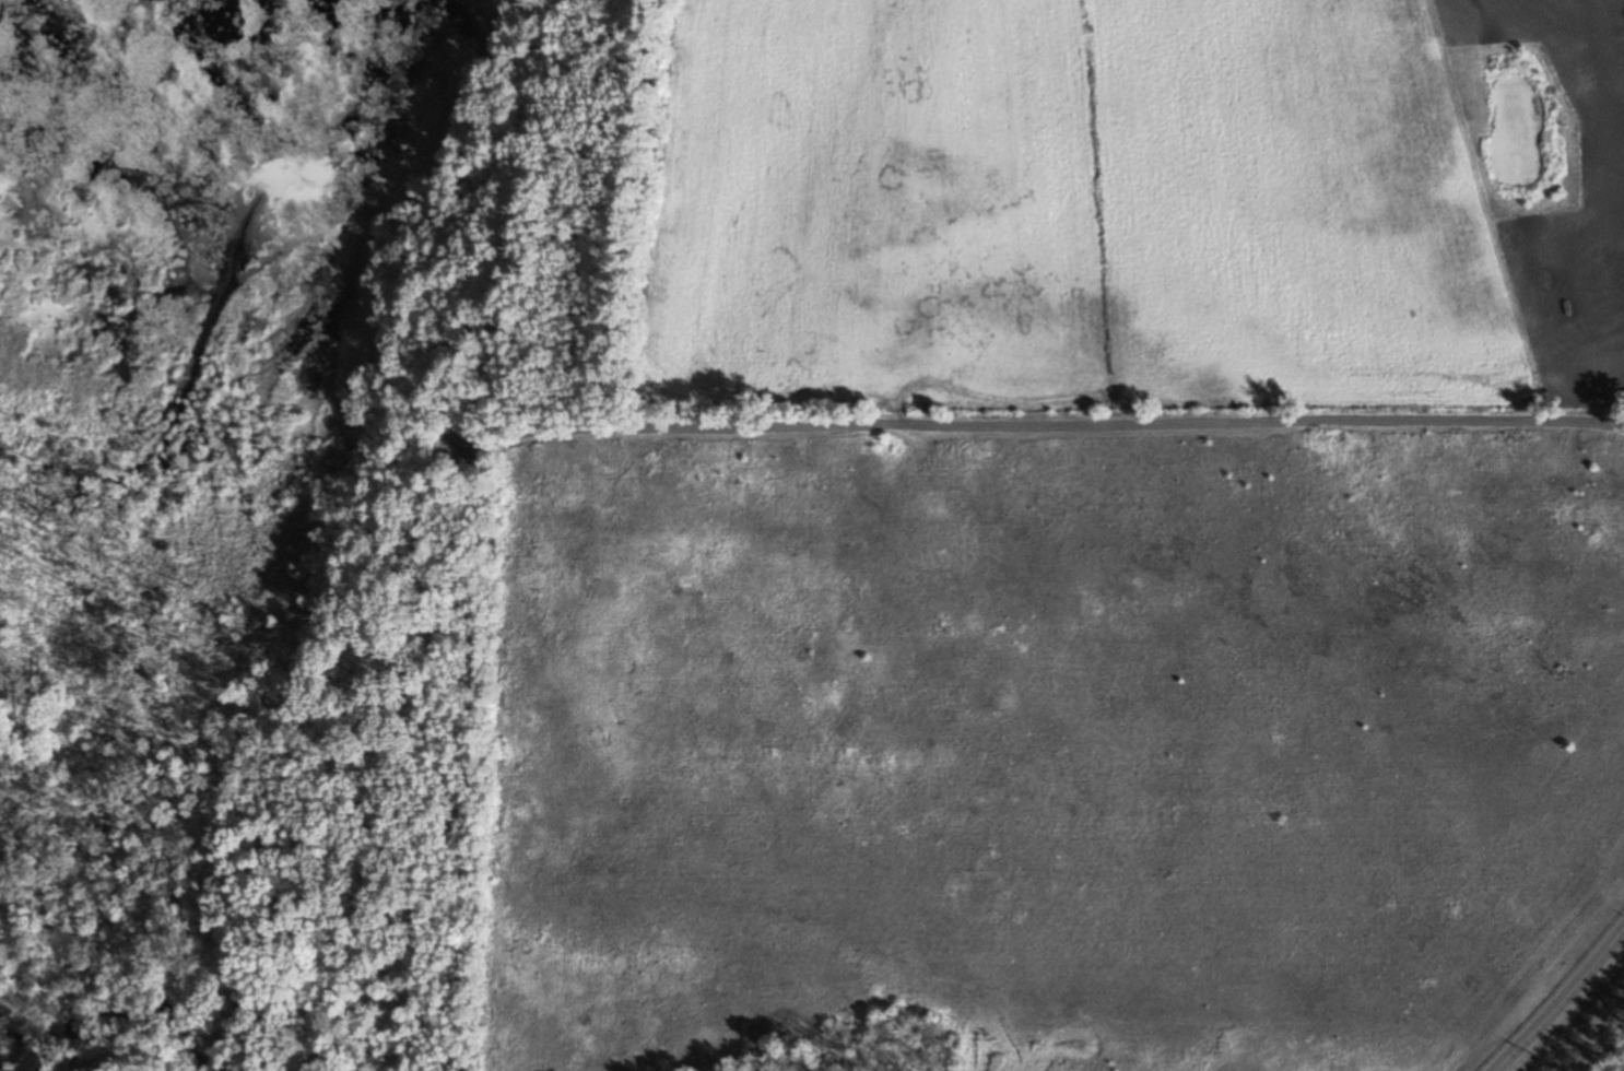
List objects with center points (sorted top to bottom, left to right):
road: (1052, 425)
road: (1563, 1001)

